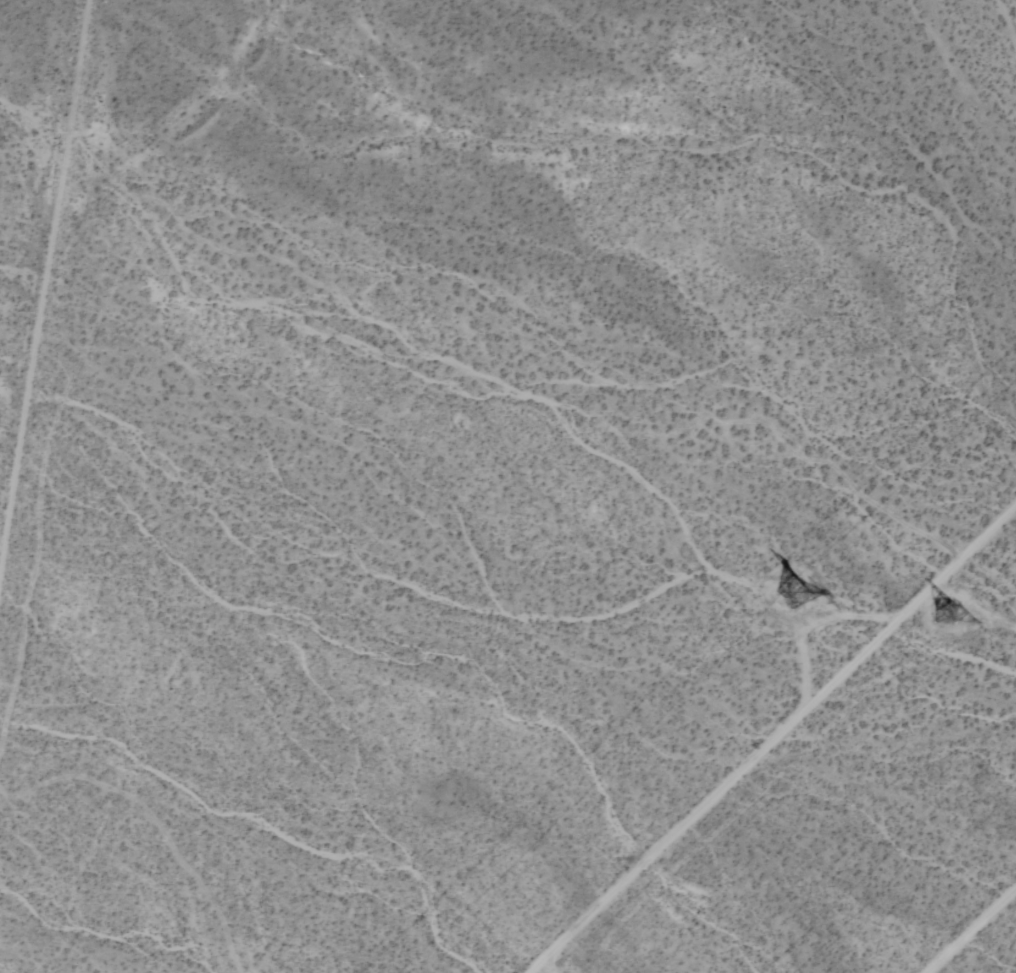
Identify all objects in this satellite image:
power tower: (799, 592)
power tower: (935, 617)
road: (774, 742)
road: (971, 930)

